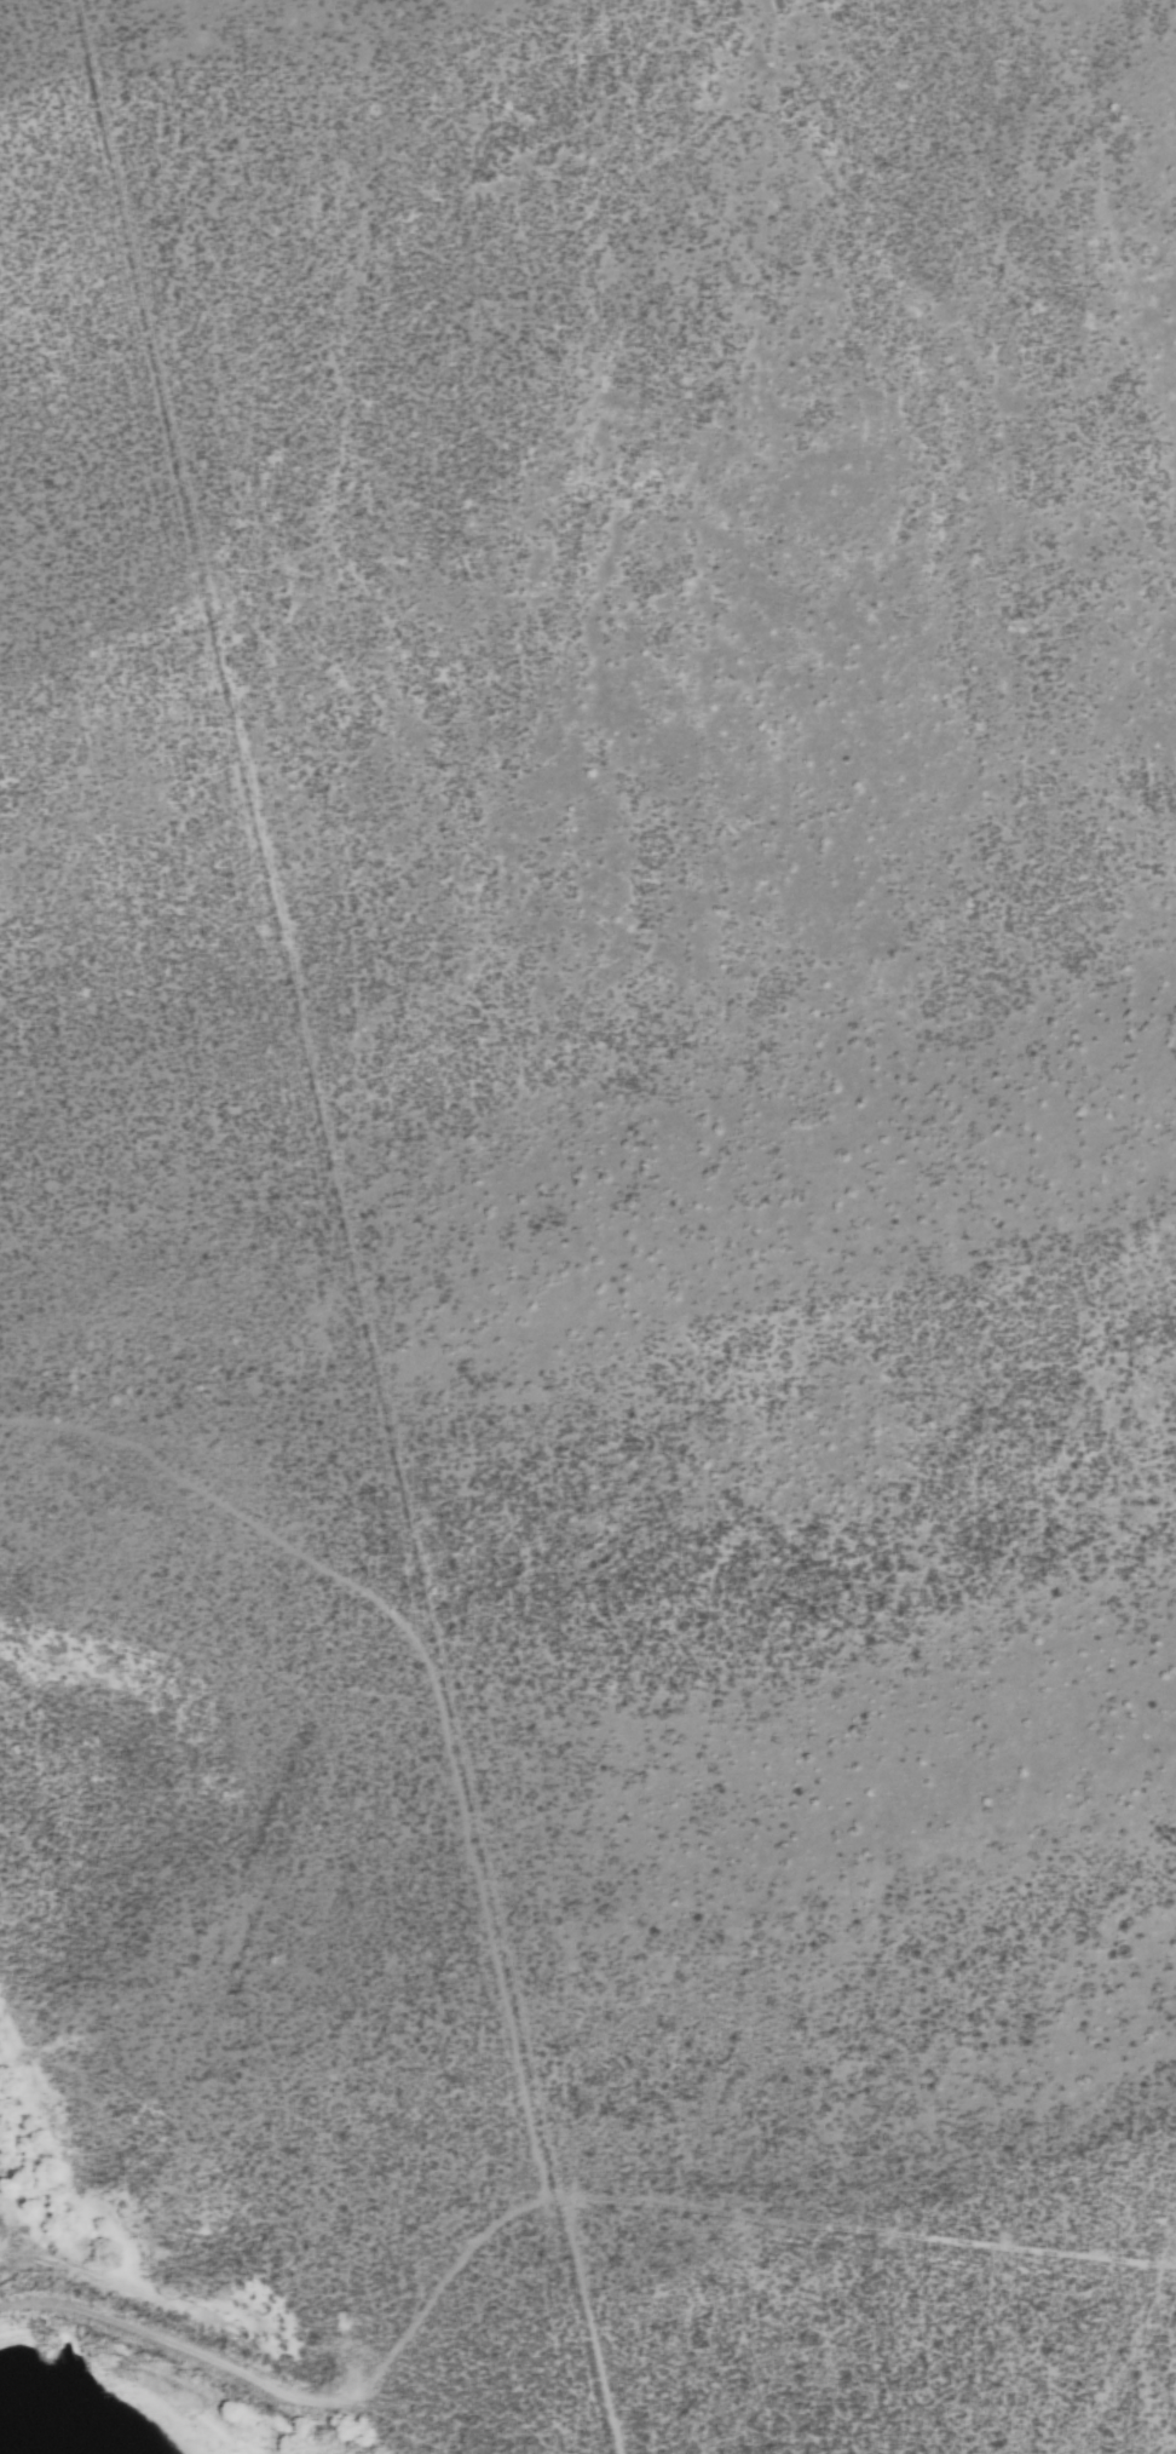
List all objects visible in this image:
dam: (152, 2337)

